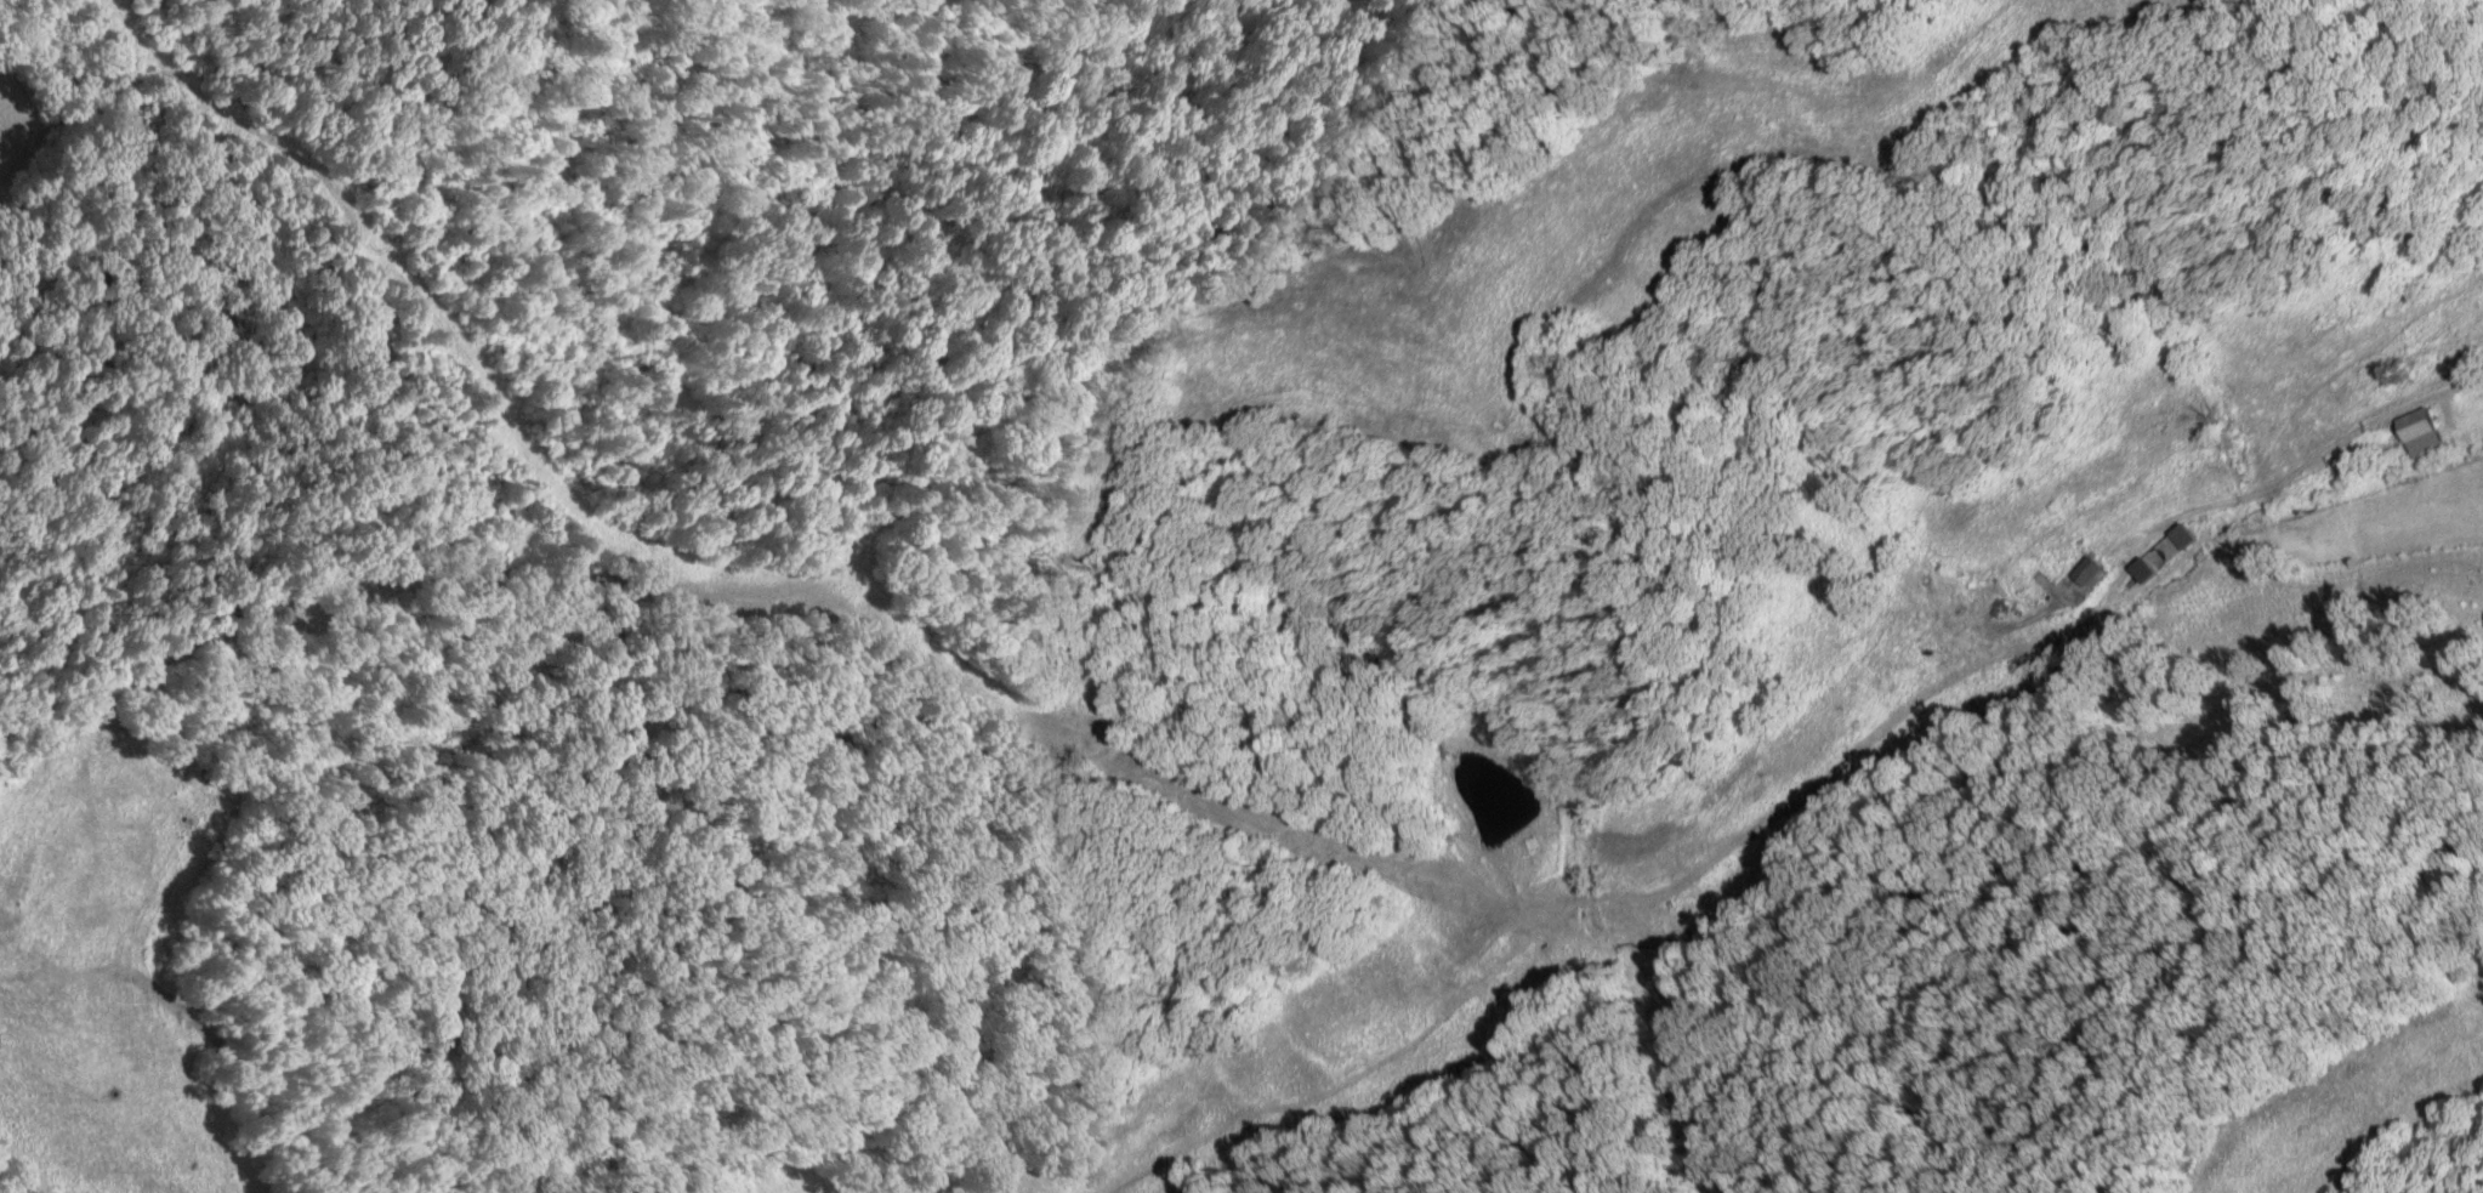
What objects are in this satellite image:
building: (2428, 432)
building: (2170, 552)
building: (2093, 570)
road: (36, 711)

